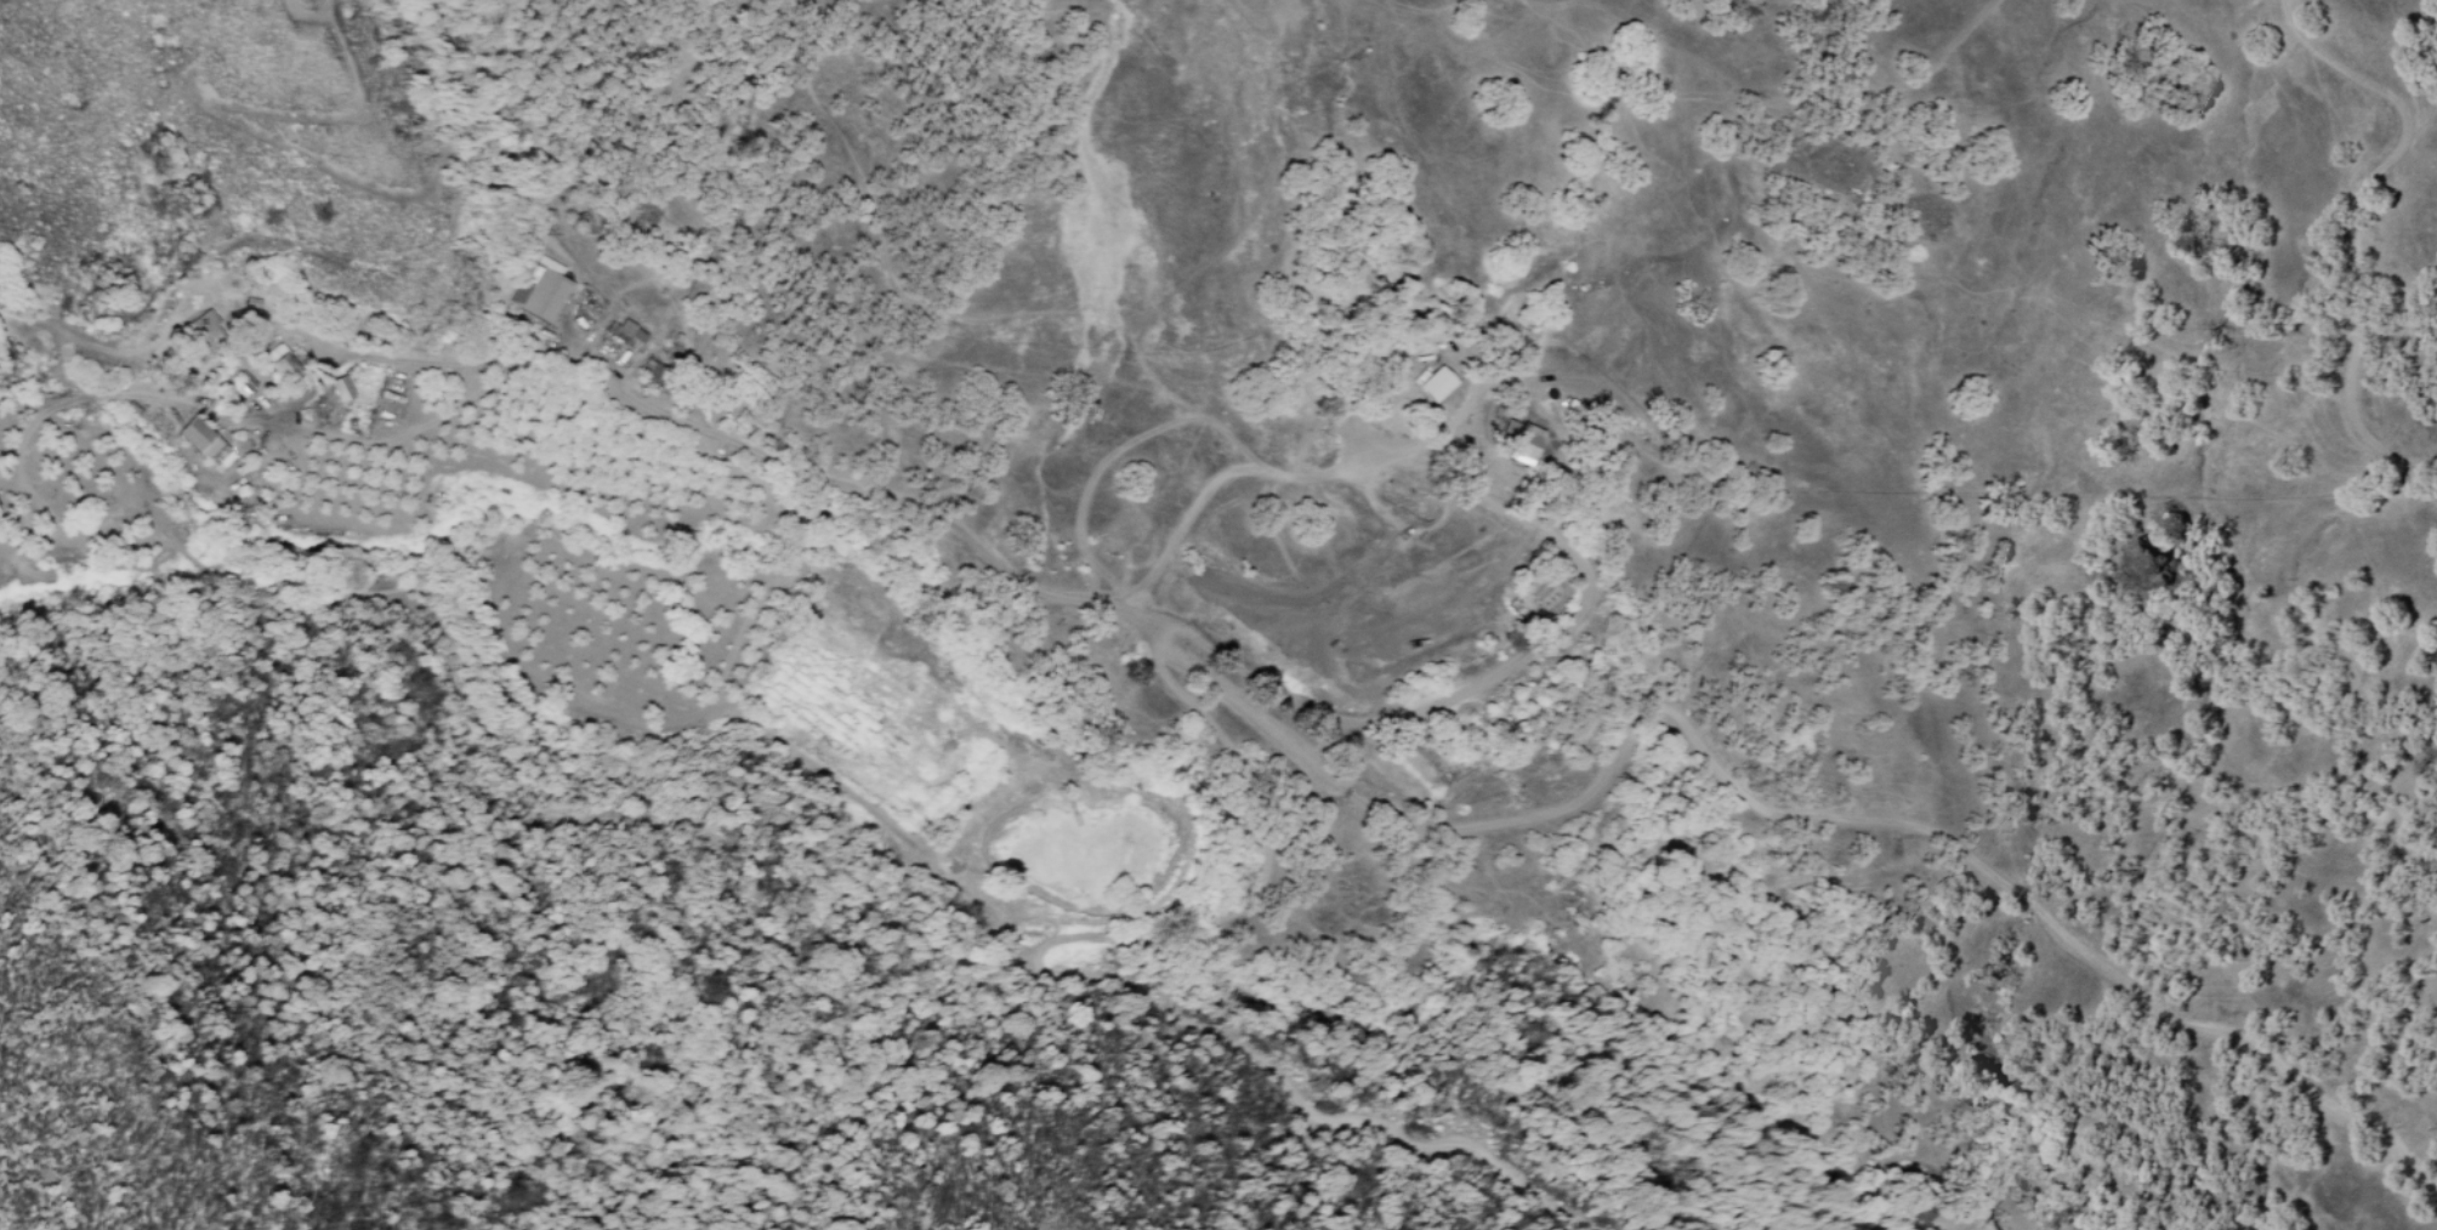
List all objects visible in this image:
road: (2364, 184)
building: (551, 295)
building: (214, 334)
building: (637, 338)
building: (286, 369)
building: (1445, 388)
building: (250, 391)
building: (352, 394)
building: (216, 449)
building: (1539, 449)
crop: (496, 536)
road: (1510, 670)
road: (1558, 816)
road: (1144, 979)

